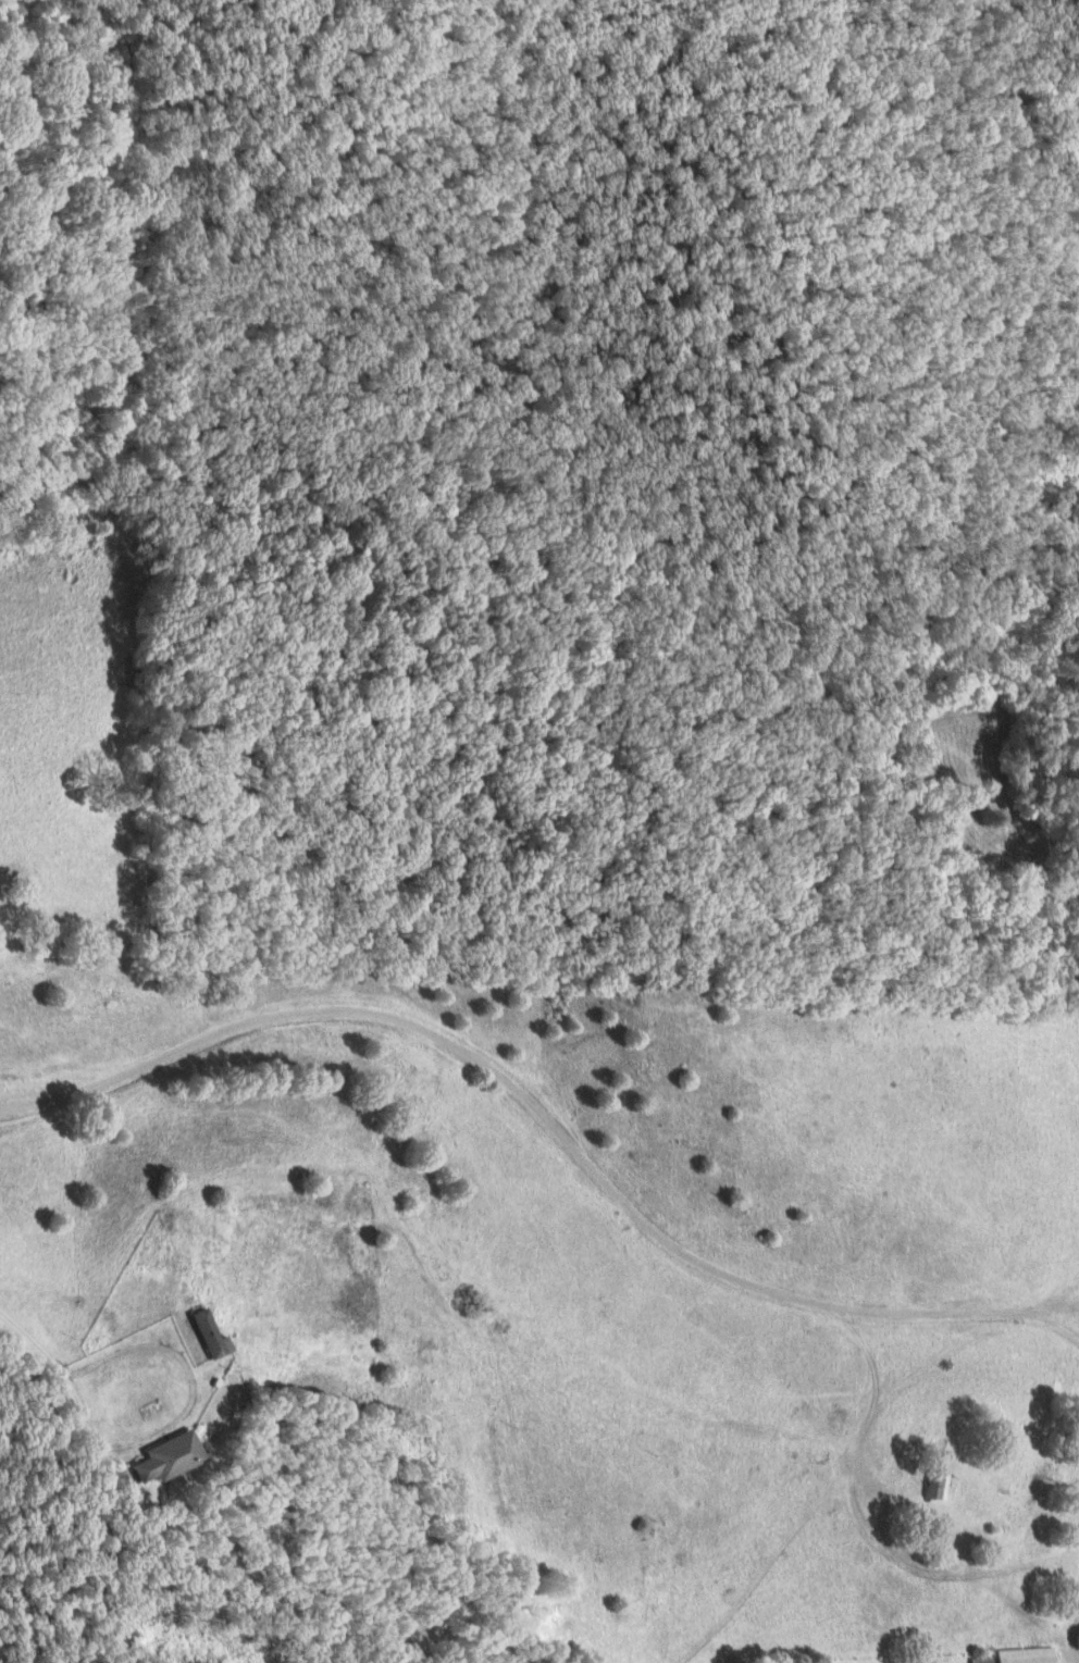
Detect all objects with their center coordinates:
road: (545, 1124)
building: (204, 1335)
road: (69, 1389)
building: (162, 1457)
building: (934, 1488)
road: (860, 1524)
building: (1026, 1655)

